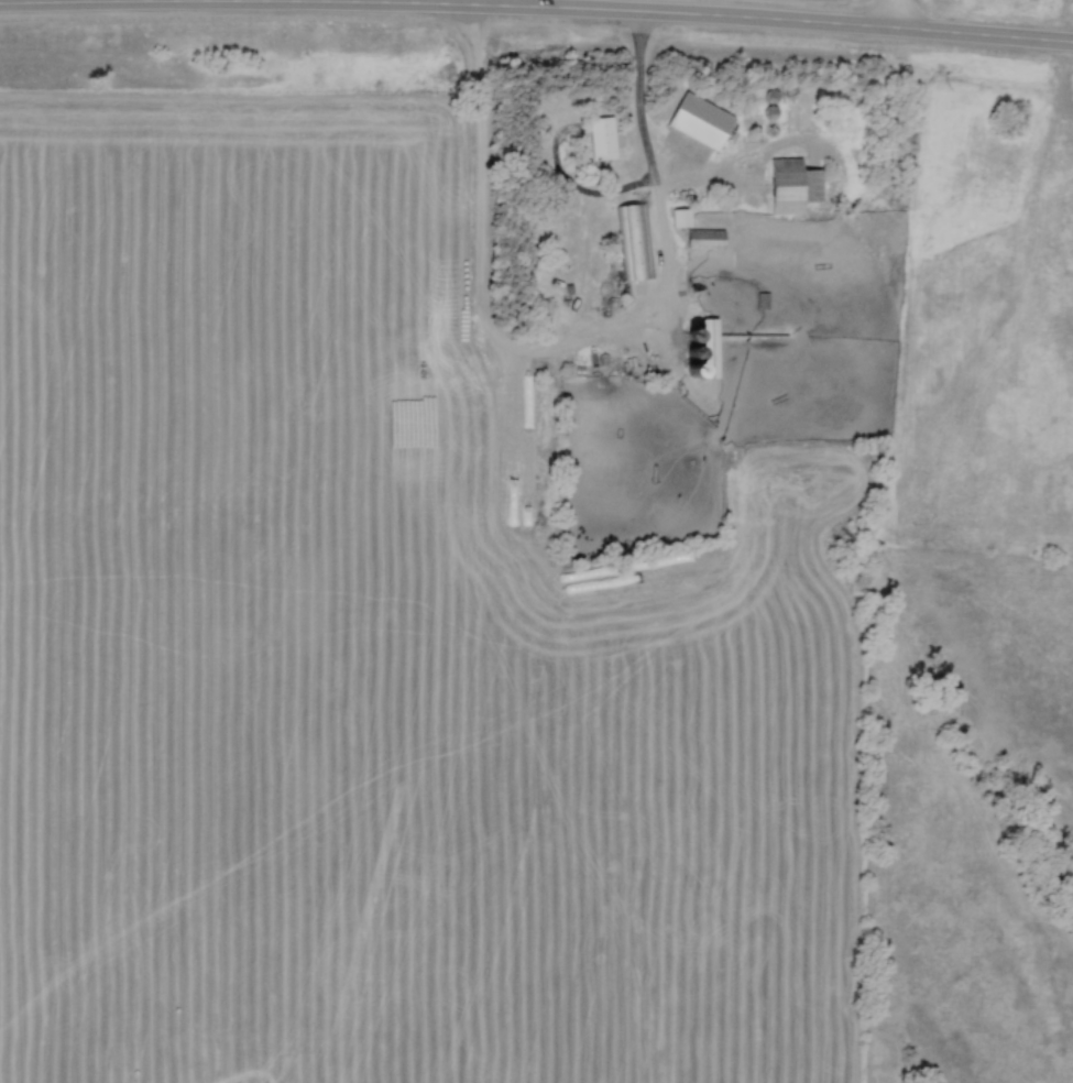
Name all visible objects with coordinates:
road: (114, 2)
road: (518, 4)
road: (896, 17)
road: (704, 20)
building: (702, 120)
building: (601, 141)
building: (789, 183)
building: (708, 238)
building: (634, 241)
road: (562, 351)
building: (709, 351)
building: (523, 452)

